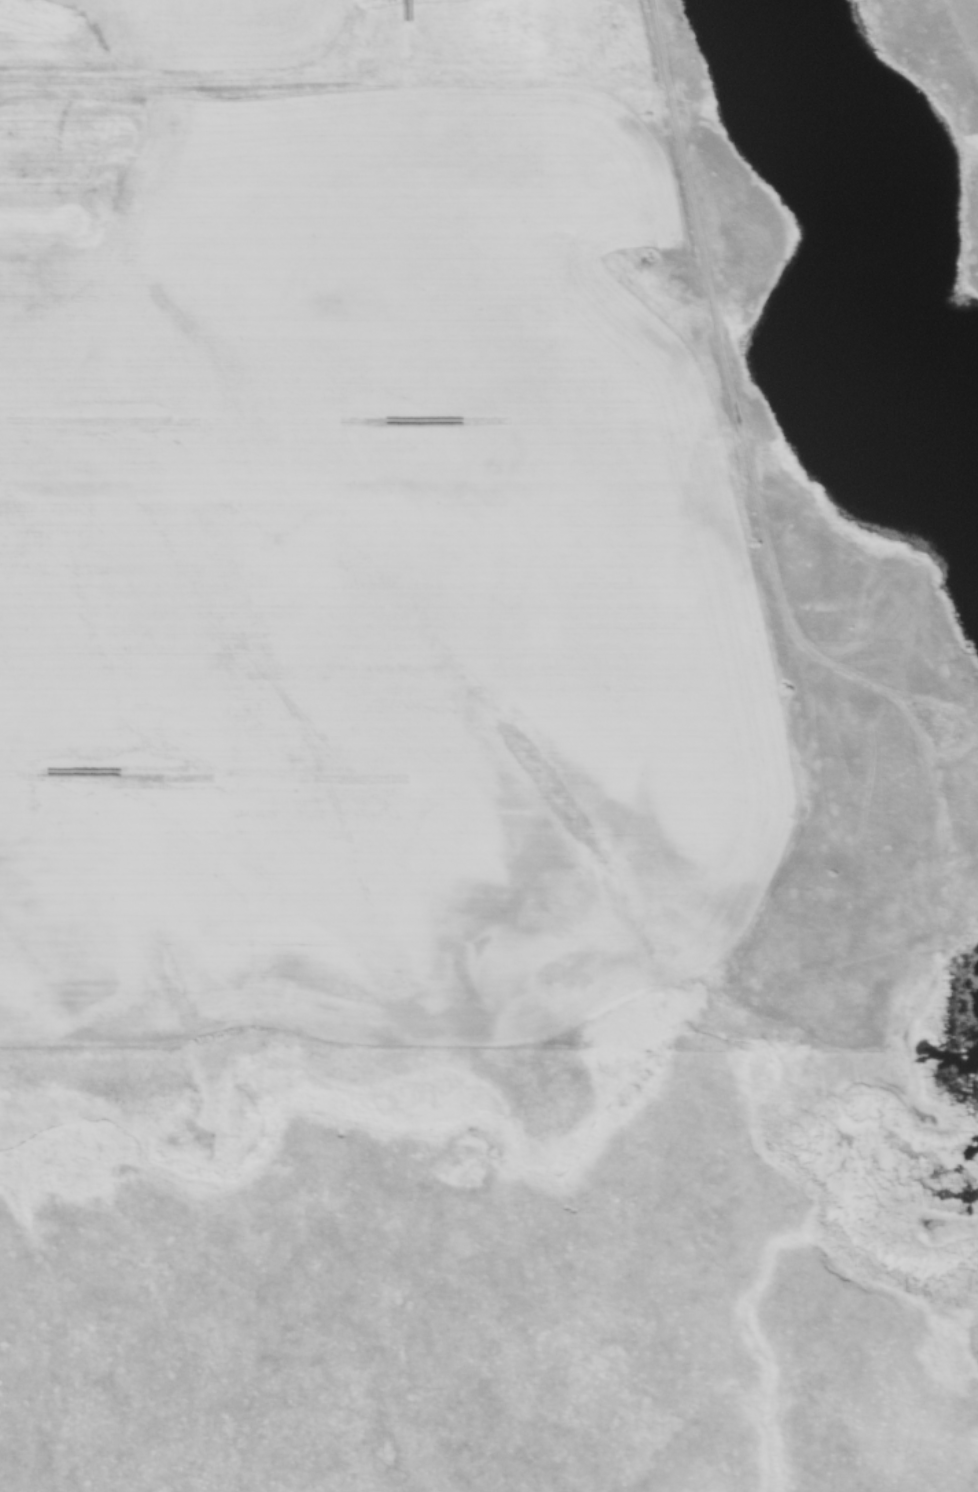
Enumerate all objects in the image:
road: (736, 388)

